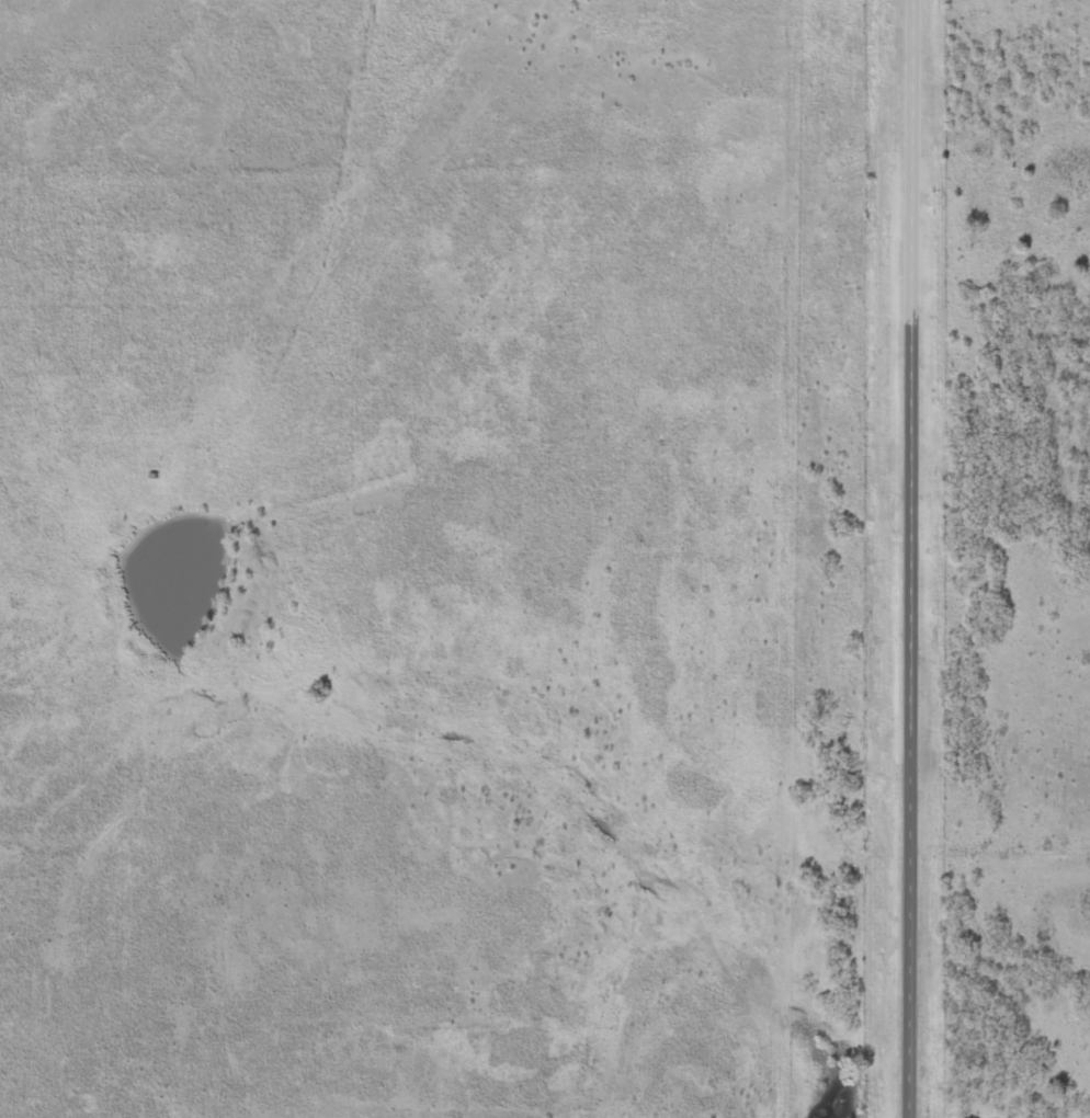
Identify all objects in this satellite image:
road: (907, 558)

